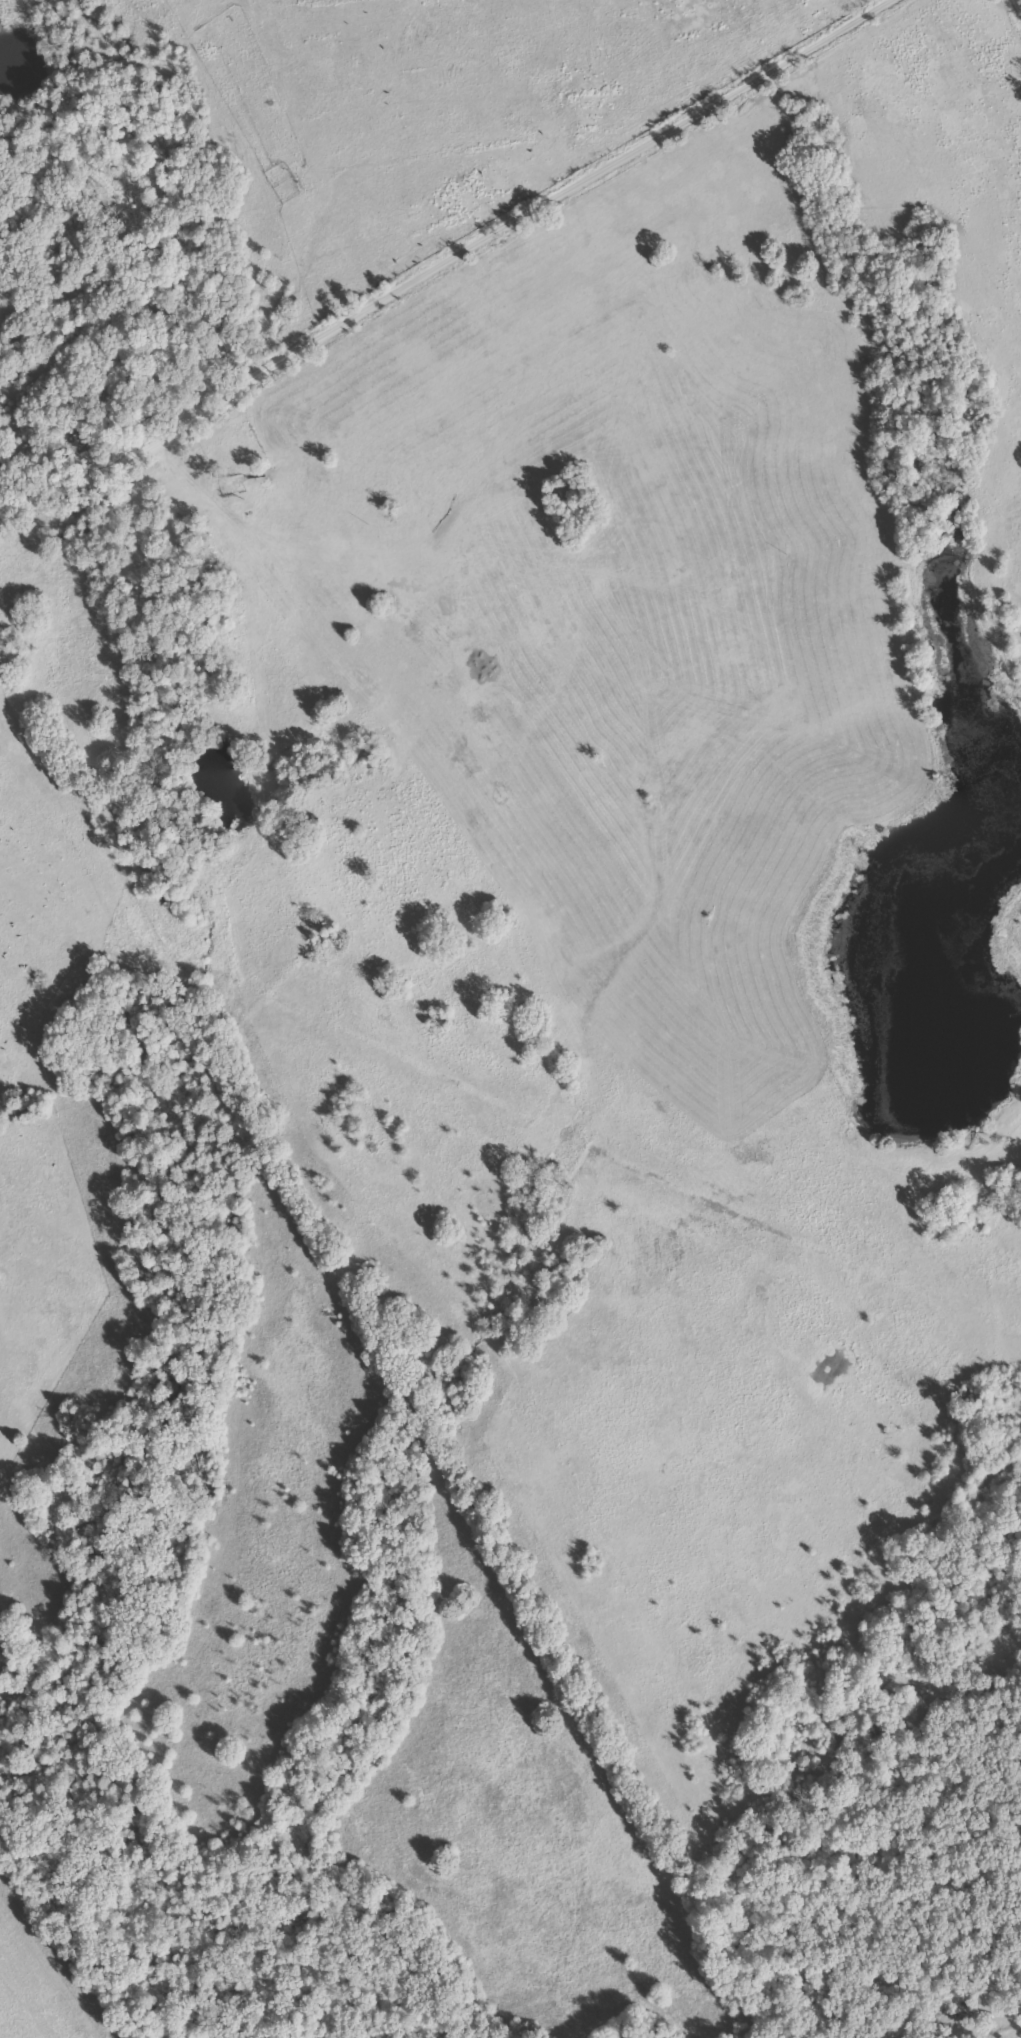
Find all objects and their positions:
road: (1018, 3)
road: (441, 258)
building: (261, 478)
road: (295, 644)

